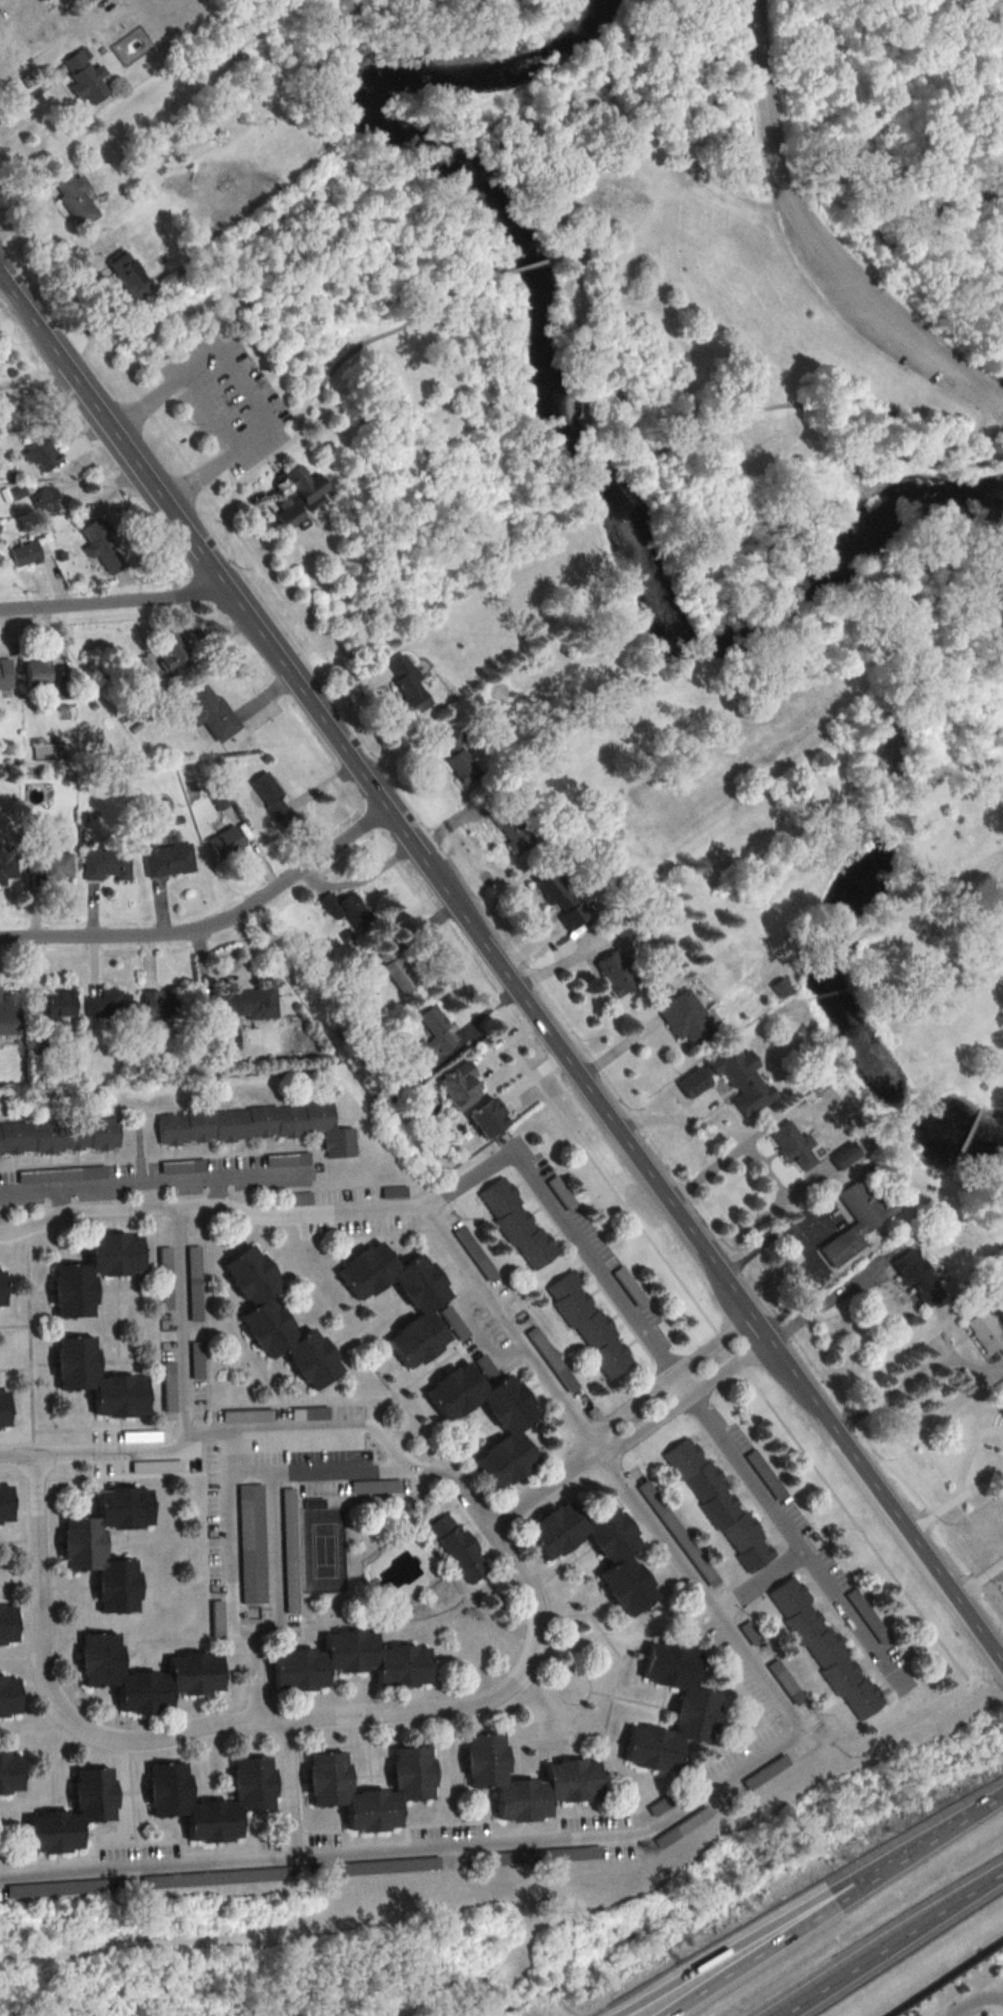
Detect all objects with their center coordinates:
building: (78, 2)
road: (48, 45)
building: (81, 76)
road: (807, 196)
building: (70, 198)
road: (585, 240)
road: (814, 241)
park: (764, 258)
road: (511, 271)
building: (124, 276)
road: (3, 292)
parking lot: (885, 319)
road: (376, 339)
road: (598, 366)
parking lot: (226, 397)
road: (236, 398)
building: (6, 407)
river: (573, 420)
road: (202, 421)
road: (967, 433)
road: (284, 443)
road: (979, 444)
building: (41, 454)
road: (846, 459)
road: (273, 464)
road: (236, 478)
building: (297, 493)
road: (862, 497)
building: (45, 499)
road: (213, 504)
building: (99, 547)
building: (23, 553)
road: (115, 606)
building: (166, 652)
building: (30, 672)
building: (4, 675)
building: (405, 682)
building: (208, 713)
building: (456, 759)
building: (218, 798)
building: (272, 803)
road: (387, 808)
building: (508, 829)
building: (223, 841)
building: (166, 859)
building: (47, 863)
building: (4, 864)
building: (104, 865)
road: (359, 878)
building: (558, 898)
building: (344, 909)
road: (211, 925)
building: (396, 971)
building: (947, 972)
building: (612, 973)
building: (778, 987)
building: (57, 1005)
building: (106, 1005)
building: (157, 1009)
building: (238, 1013)
building: (7, 1015)
building: (682, 1019)
building: (430, 1035)
building: (728, 1079)
building: (456, 1086)
building: (483, 1118)
building: (254, 1126)
building: (57, 1136)
building: (790, 1145)
building: (285, 1159)
road: (764, 1170)
road: (261, 1171)
road: (140, 1181)
road: (464, 1182)
road: (27, 1190)
building: (560, 1193)
building: (854, 1221)
building: (515, 1223)
road: (802, 1247)
road: (593, 1265)
building: (88, 1274)
building: (916, 1278)
building: (163, 1279)
building: (192, 1284)
road: (823, 1303)
building: (418, 1306)
building: (272, 1322)
building: (587, 1324)
building: (980, 1328)
road: (476, 1329)
road: (184, 1330)
road: (732, 1354)
building: (195, 1361)
building: (482, 1365)
road: (666, 1379)
building: (92, 1381)
road: (680, 1385)
road: (887, 1391)
road: (681, 1399)
building: (998, 1402)
building: (1, 1411)
building: (505, 1427)
road: (19, 1454)
building: (764, 1475)
road: (538, 1484)
building: (373, 1487)
road: (955, 1497)
road: (885, 1502)
building: (3, 1504)
building: (717, 1504)
building: (250, 1544)
road: (797, 1544)
building: (78, 1545)
building: (455, 1548)
building: (287, 1551)
building: (594, 1551)
road: (275, 1558)
road: (977, 1576)
road: (759, 1583)
road: (231, 1601)
building: (866, 1617)
building: (9, 1623)
road: (730, 1634)
building: (822, 1648)
building: (346, 1661)
building: (141, 1674)
building: (782, 1678)
building: (10, 1696)
road: (486, 1697)
building: (692, 1708)
building: (407, 1771)
building: (11, 1772)
building: (523, 1779)
road: (288, 1790)
building: (237, 1799)
building: (68, 1813)
road: (919, 1845)
building: (215, 1877)
building: (29, 1890)
road: (890, 1941)
road: (723, 1958)
road: (749, 1958)
road: (999, 1993)
road: (977, 2002)

